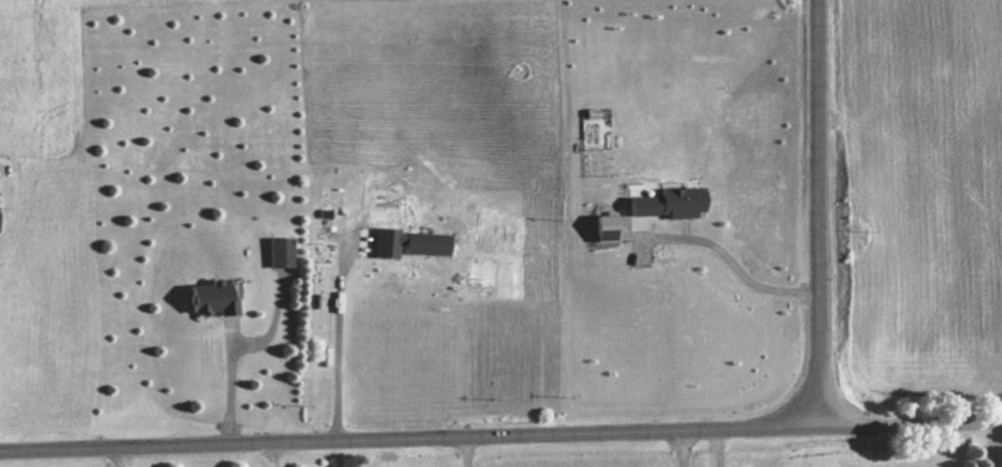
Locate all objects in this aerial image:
road: (814, 212)
building: (424, 243)
building: (280, 251)
building: (213, 298)
road: (928, 420)
road: (427, 436)

